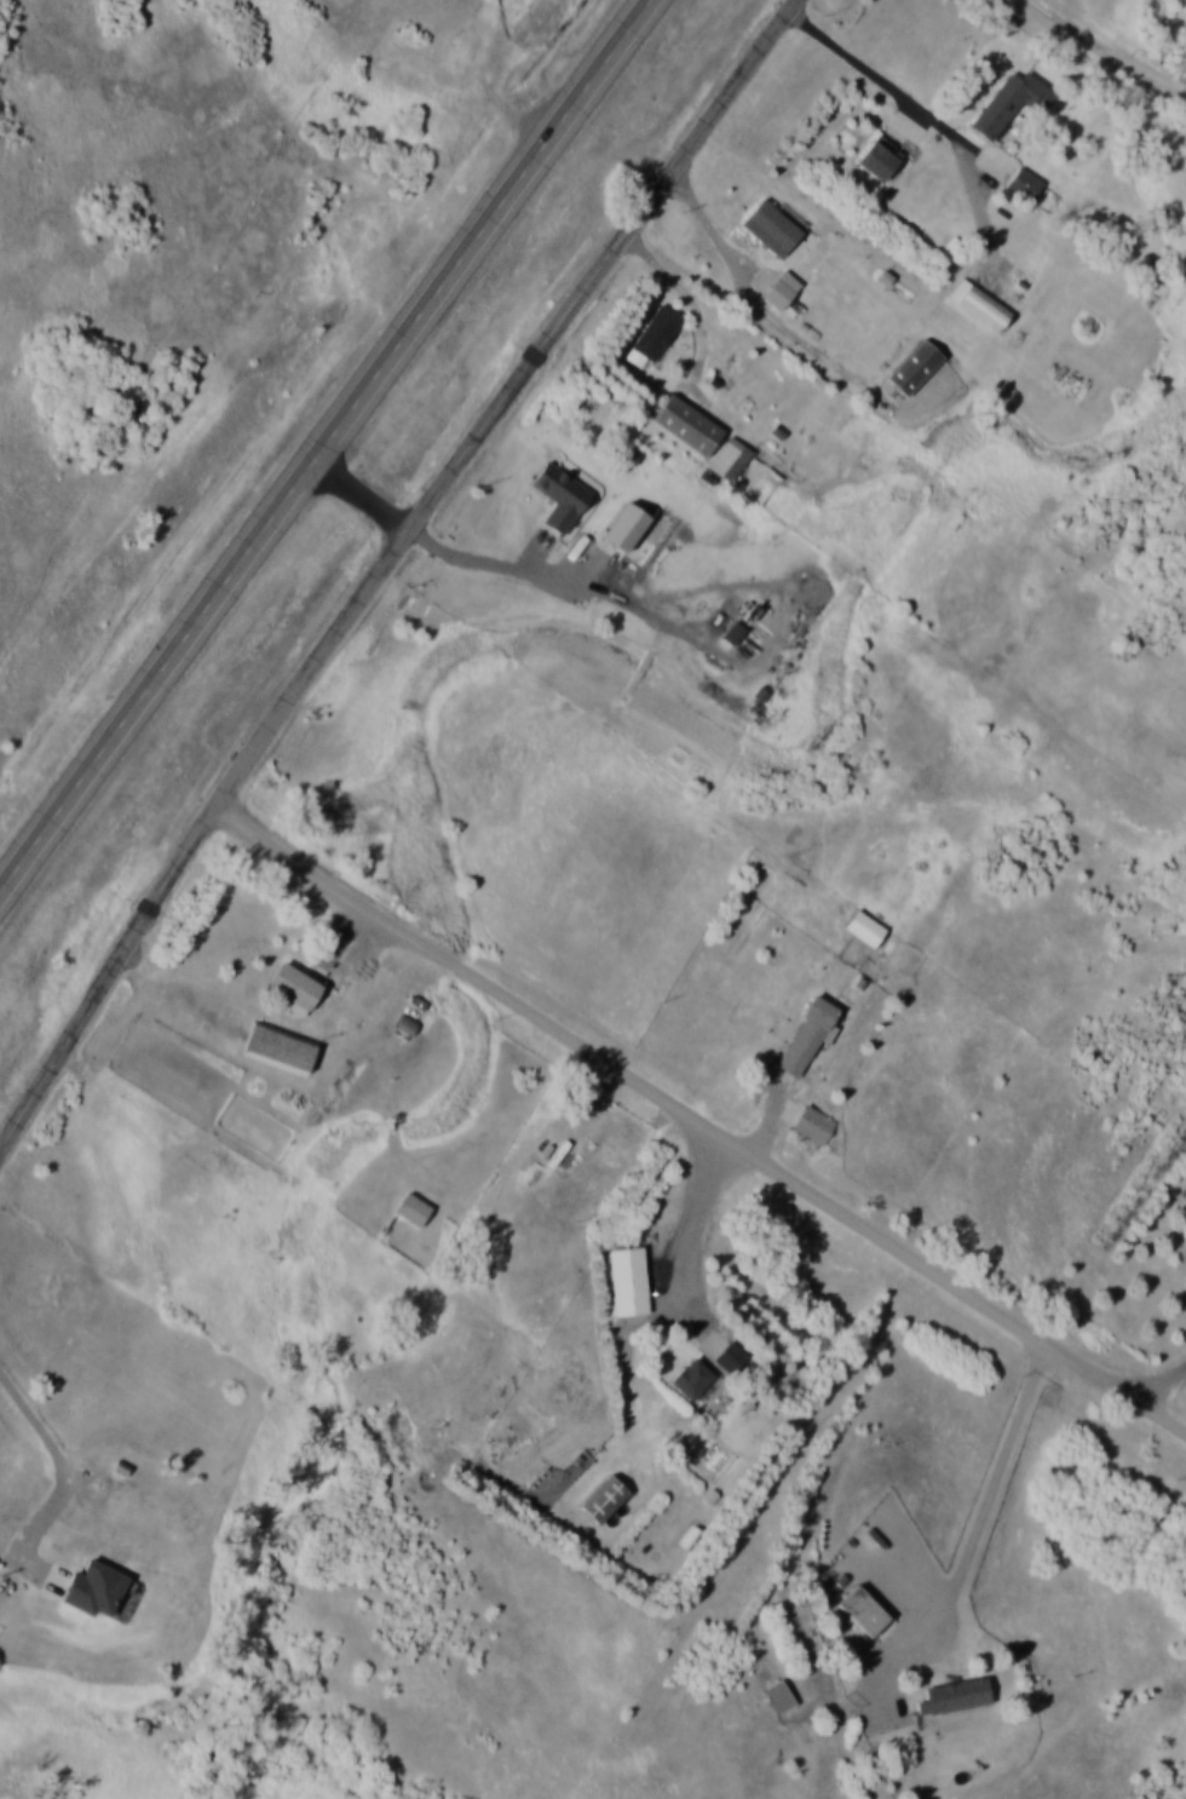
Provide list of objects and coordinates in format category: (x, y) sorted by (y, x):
road: (1118, 42)
road: (935, 122)
building: (877, 160)
building: (773, 228)
building: (782, 291)
road: (686, 294)
road: (761, 300)
building: (980, 304)
building: (656, 333)
building: (915, 367)
building: (738, 381)
building: (687, 424)
road: (322, 448)
building: (730, 458)
road: (447, 551)
road: (381, 564)
building: (865, 929)
building: (295, 987)
road: (281, 1018)
building: (807, 1036)
building: (280, 1047)
road: (812, 1064)
road: (698, 1123)
building: (414, 1208)
road: (683, 1230)
building: (628, 1281)
building: (731, 1357)
building: (692, 1378)
road: (1159, 1381)
road: (59, 1458)
road: (984, 1495)
building: (604, 1499)
building: (864, 1611)
building: (779, 1695)
building: (956, 1695)

